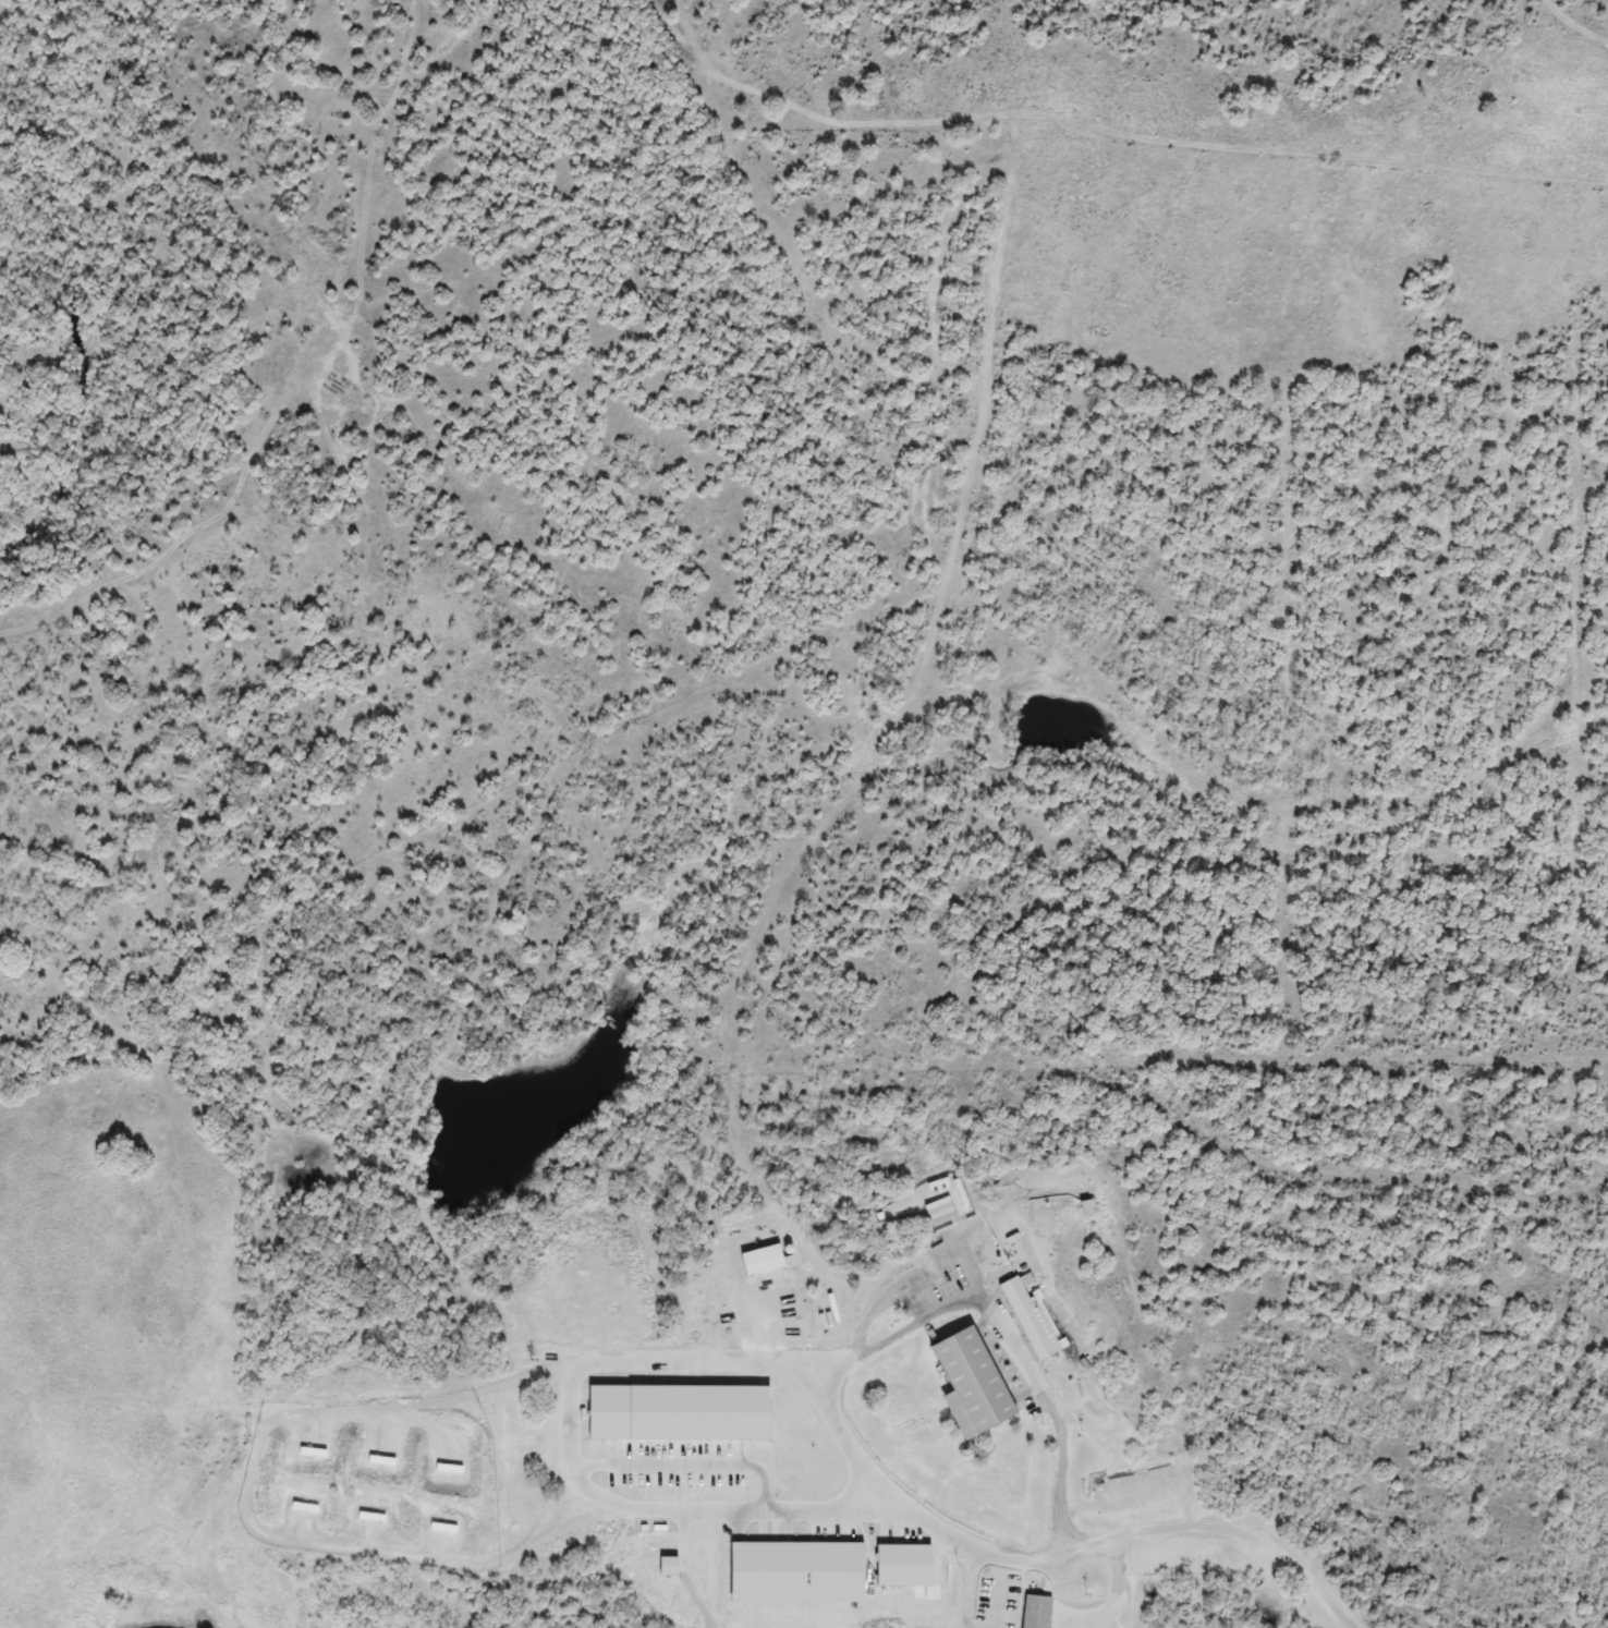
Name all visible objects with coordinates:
building: (697, 1319)
building: (1028, 1320)
road: (875, 1346)
building: (962, 1384)
building: (608, 1414)
road: (570, 1469)
road: (689, 1472)
road: (246, 1514)
road: (1219, 1527)
road: (972, 1589)
road: (1120, 1597)
road: (1000, 1608)

